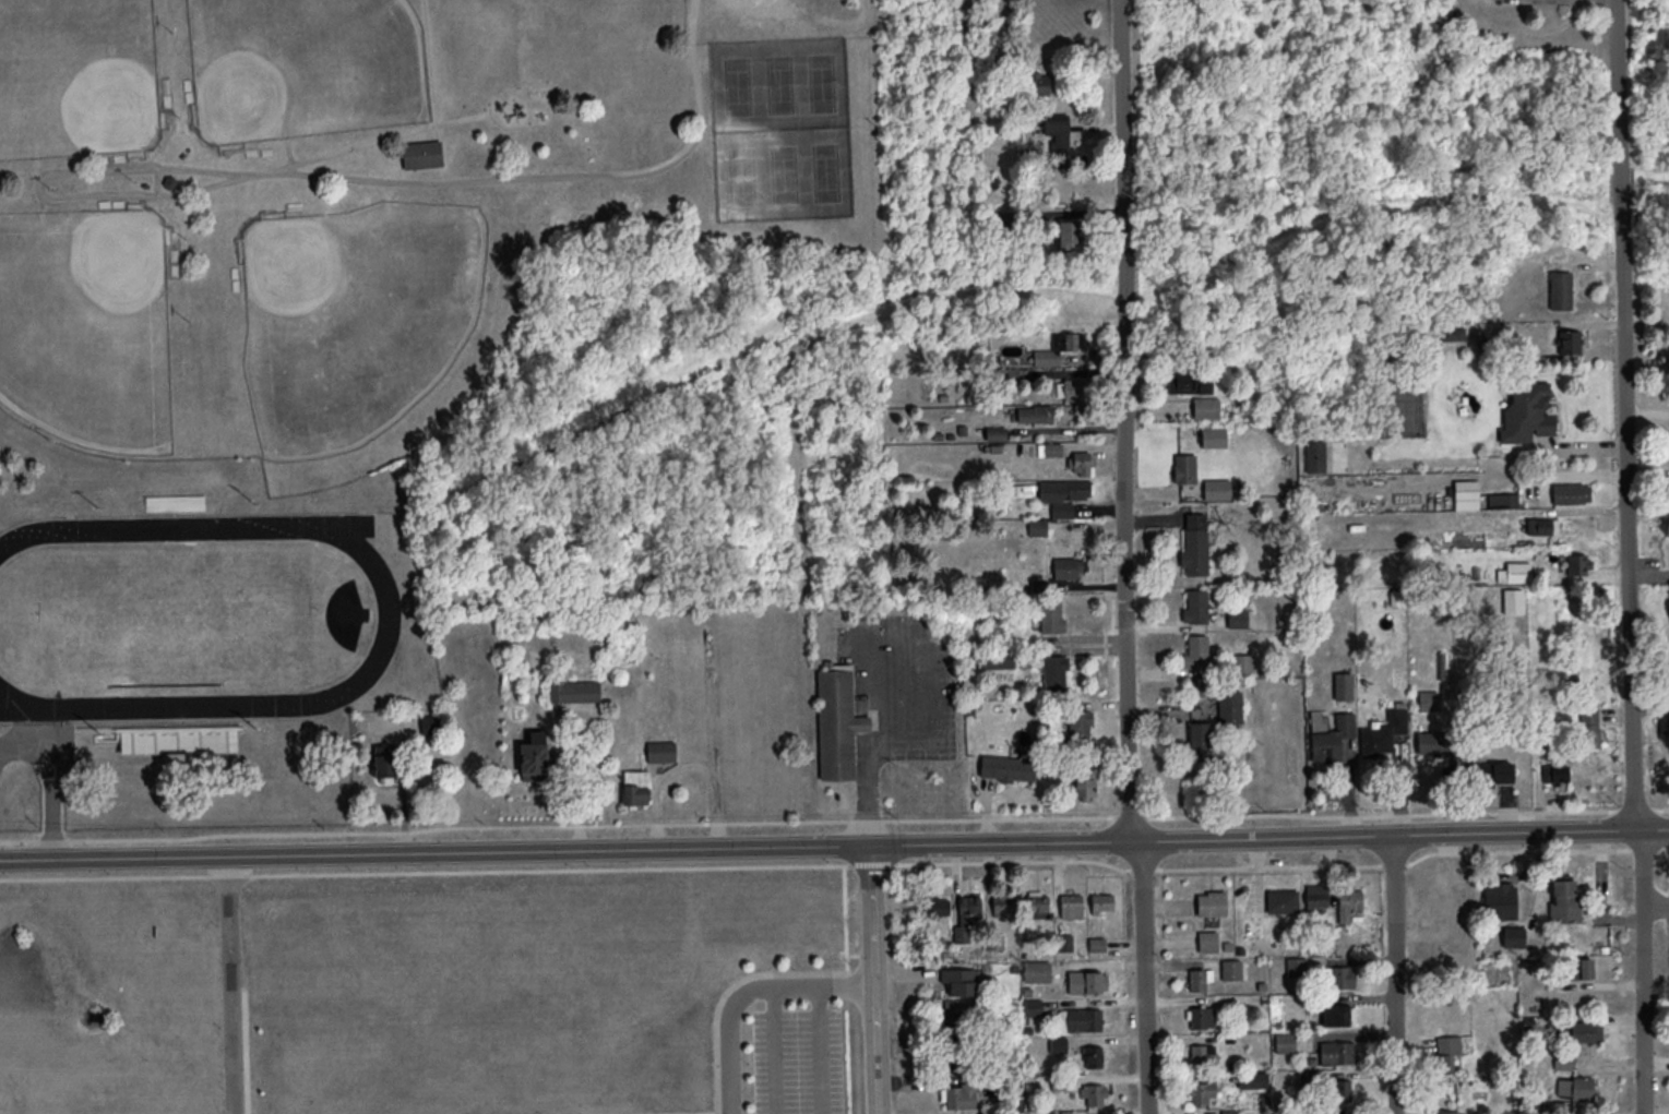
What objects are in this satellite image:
parking lot: (762, 7)
park: (302, 70)
park: (78, 79)
building: (1039, 82)
park: (782, 129)
building: (1060, 139)
building: (422, 156)
road: (109, 163)
road: (548, 177)
road: (157, 190)
road: (156, 196)
building: (1001, 218)
building: (1070, 230)
building: (1560, 289)
park: (500, 302)
park: (355, 316)
park: (86, 322)
building: (1570, 340)
building: (1058, 348)
building: (1008, 374)
building: (1190, 382)
building: (1071, 388)
building: (1205, 406)
building: (1034, 412)
building: (1525, 412)
road: (1647, 416)
road: (1125, 422)
building: (996, 433)
building: (1214, 435)
building: (1049, 448)
building: (1078, 462)
building: (1314, 463)
building: (1184, 467)
building: (1216, 488)
building: (1024, 489)
building: (1561, 492)
building: (1063, 494)
building: (1466, 494)
building: (1503, 500)
building: (1542, 525)
building: (1194, 550)
road: (1634, 556)
building: (1579, 563)
building: (1068, 566)
building: (1515, 572)
building: (1514, 600)
building: (1194, 606)
track: (189, 615)
building: (1052, 615)
building: (1237, 616)
building: (1195, 650)
building: (997, 658)
building: (1242, 663)
road: (930, 669)
building: (1054, 672)
building: (1343, 685)
building: (574, 691)
building: (1229, 707)
building: (1080, 723)
building: (837, 724)
building: (1665, 724)
building: (1589, 726)
building: (1332, 739)
building: (1376, 739)
building: (1201, 740)
building: (1438, 747)
building: (660, 750)
building: (534, 756)
building: (384, 759)
building: (1006, 767)
building: (1559, 771)
building: (1084, 782)
building: (636, 787)
road: (834, 819)
road: (834, 845)
road: (836, 863)
building: (1318, 896)
building: (1500, 897)
building: (1281, 900)
building: (1564, 900)
building: (1102, 902)
building: (1211, 902)
building: (1349, 902)
building: (1037, 903)
building: (1003, 905)
building: (1071, 906)
building: (1428, 907)
building: (1207, 941)
building: (1064, 942)
building: (1230, 968)
building: (1579, 968)
building: (1037, 970)
road: (1397, 972)
building: (1342, 977)
building: (1199, 978)
road: (881, 979)
road: (1145, 979)
building: (959, 981)
building: (1087, 981)
road: (234, 984)
road: (849, 984)
building: (1034, 1007)
building: (1338, 1014)
road: (731, 1015)
building: (1200, 1016)
building: (1081, 1018)
building: (1585, 1031)
building: (961, 1035)
building: (1285, 1041)
road: (776, 1050)
road: (819, 1050)
building: (1335, 1052)
building: (1201, 1053)
building: (1094, 1055)
building: (1575, 1087)
building: (1201, 1090)
building: (1342, 1090)
building: (1094, 1093)
building: (957, 1094)
building: (1447, 1112)

